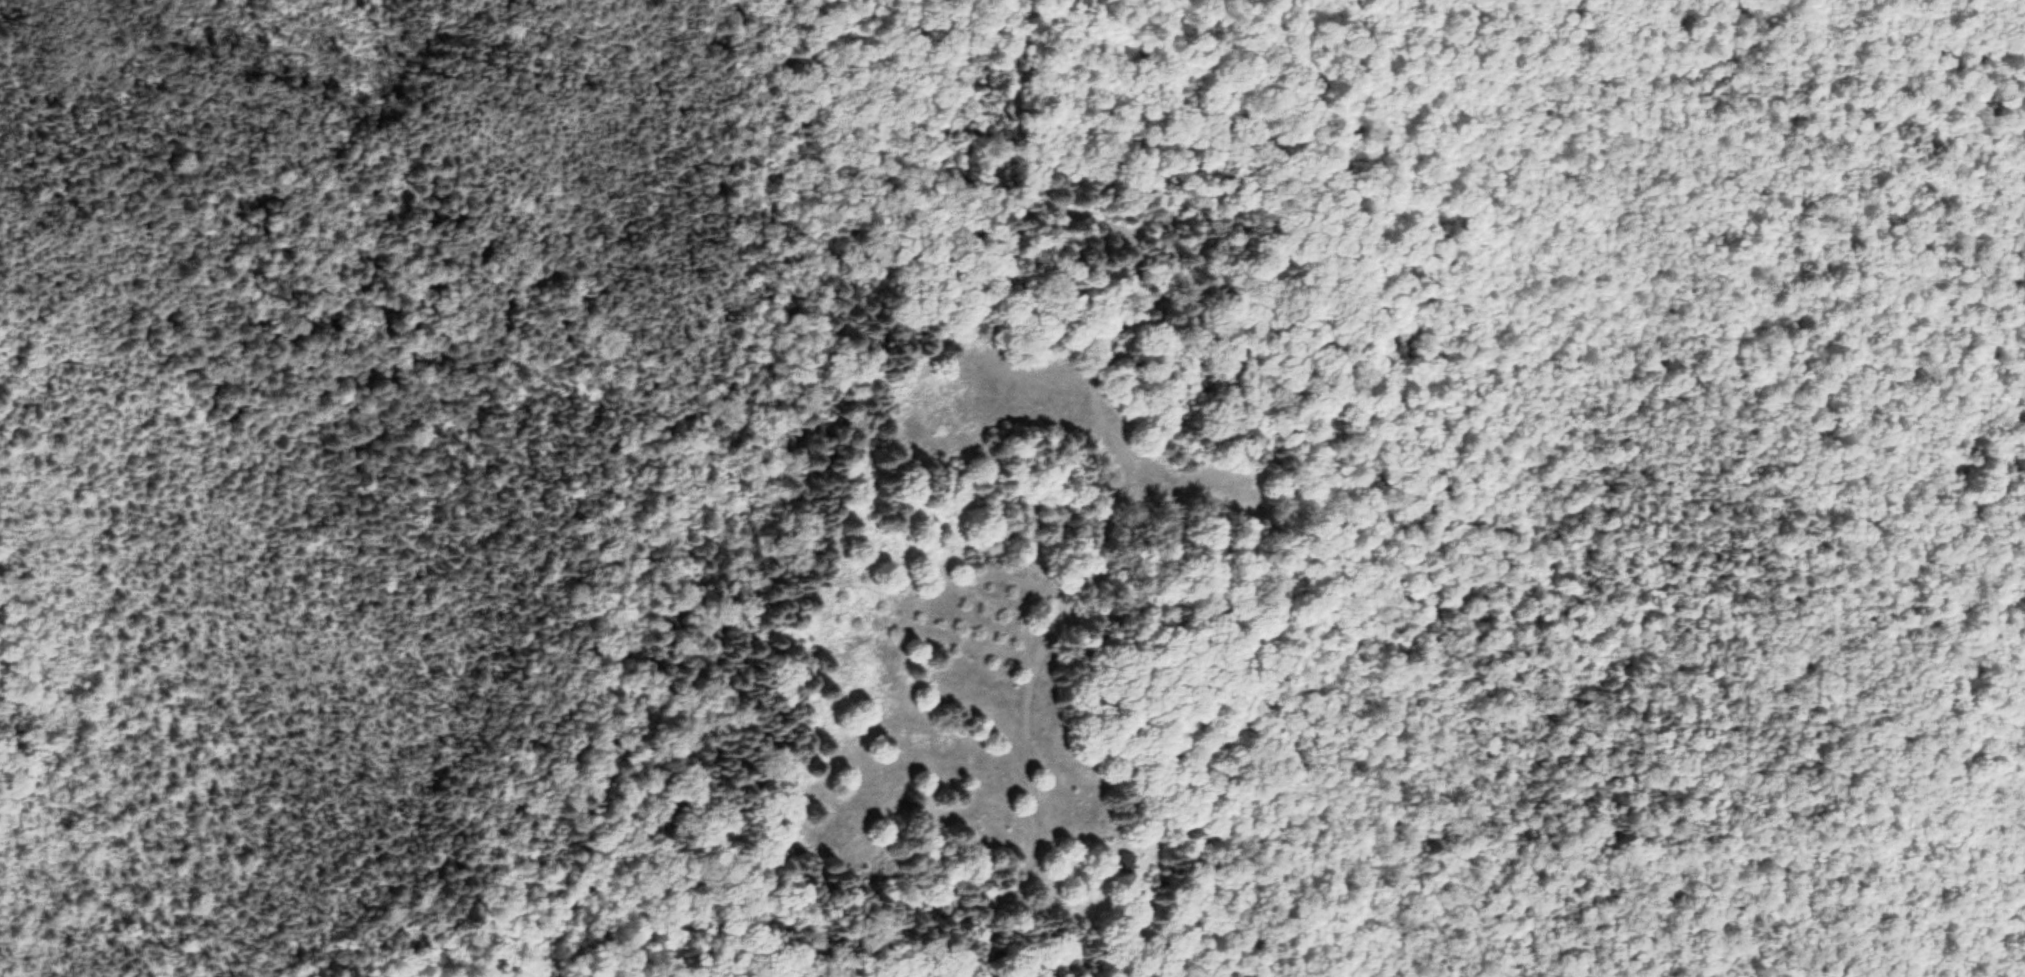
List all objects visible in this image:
road: (2018, 23)
road: (1112, 468)
building: (1123, 862)

